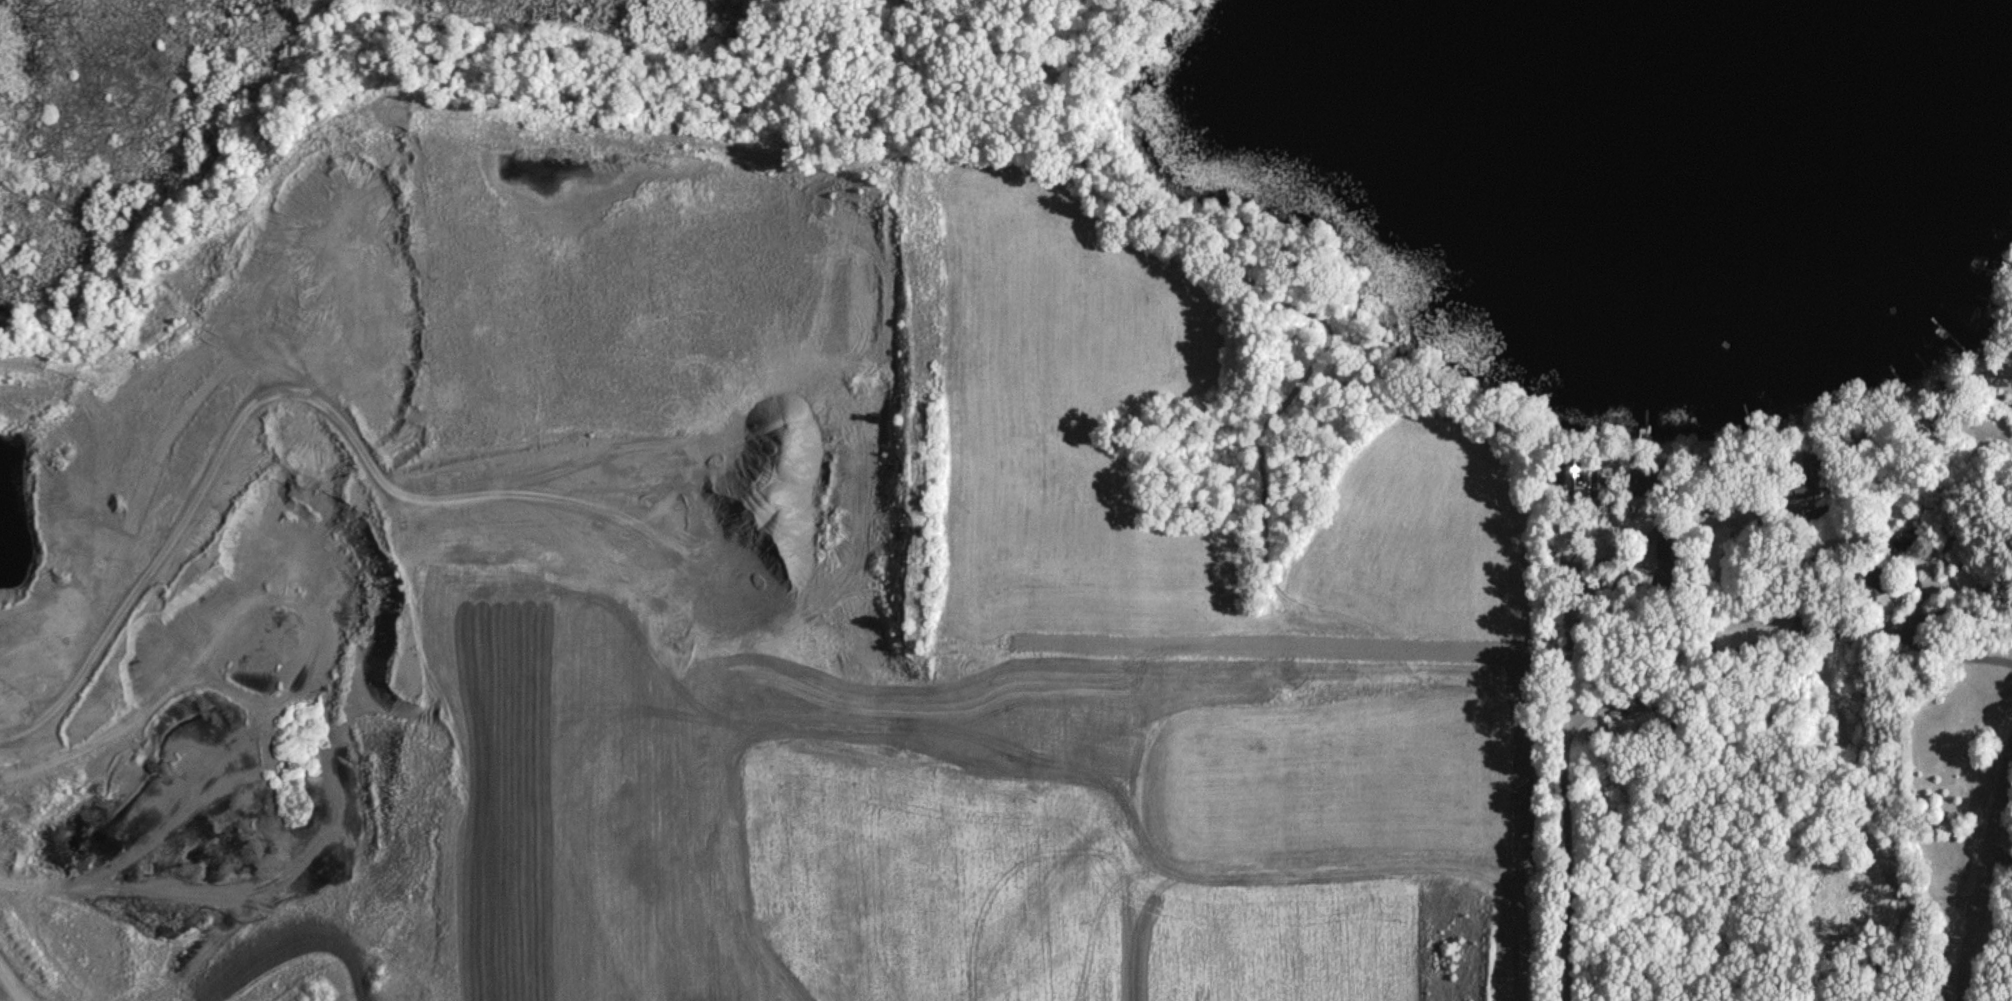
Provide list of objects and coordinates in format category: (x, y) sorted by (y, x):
building: (1574, 477)
building: (1967, 583)
building: (1877, 585)
road: (1704, 602)
road: (1902, 627)
road: (1564, 638)
road: (1951, 657)
building: (1621, 732)
road: (1560, 738)
road: (1995, 854)
road: (1976, 863)

